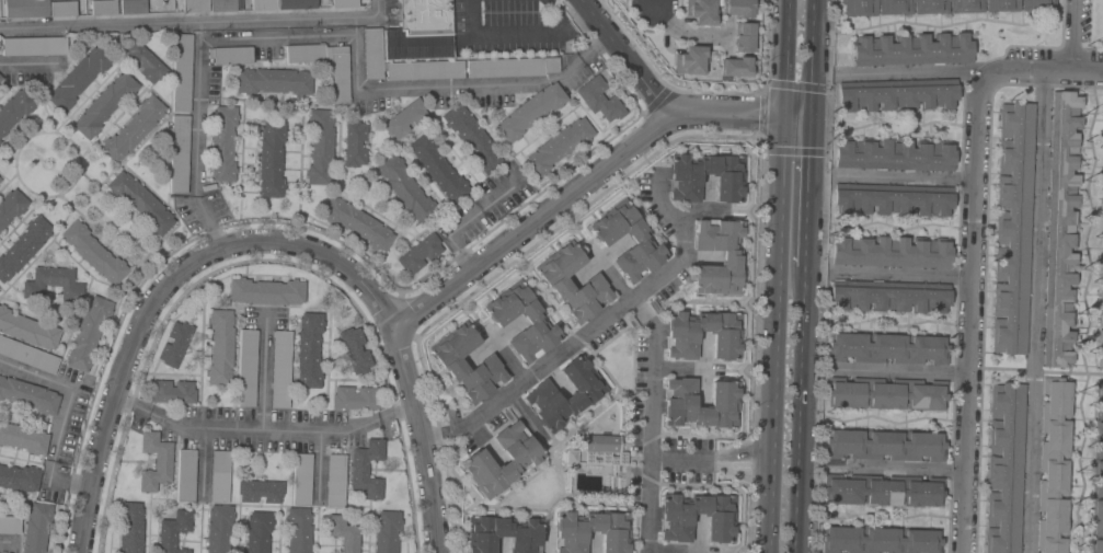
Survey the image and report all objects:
building: (344, 3)
road: (656, 3)
building: (263, 4)
building: (297, 4)
building: (195, 5)
building: (222, 5)
building: (133, 7)
building: (937, 7)
building: (25, 8)
building: (104, 8)
building: (62, 9)
building: (738, 9)
building: (701, 11)
road: (195, 24)
building: (421, 31)
road: (686, 31)
road: (515, 35)
road: (1072, 35)
building: (743, 38)
building: (33, 46)
building: (911, 49)
building: (305, 53)
building: (372, 54)
building: (230, 55)
road: (812, 56)
road: (783, 57)
road: (628, 60)
building: (690, 60)
building: (145, 62)
road: (27, 64)
road: (198, 67)
building: (512, 67)
building: (735, 67)
building: (424, 70)
road: (1042, 70)
building: (182, 73)
road: (914, 73)
building: (340, 76)
building: (0, 78)
building: (79, 78)
building: (274, 81)
road: (457, 88)
building: (896, 97)
building: (599, 100)
building: (104, 105)
building: (14, 110)
building: (530, 112)
building: (405, 118)
building: (134, 128)
building: (472, 138)
building: (222, 143)
building: (355, 143)
building: (559, 146)
building: (320, 147)
building: (180, 154)
building: (893, 155)
building: (271, 160)
building: (1102, 164)
building: (438, 169)
road: (908, 178)
building: (0, 180)
road: (589, 183)
building: (683, 185)
building: (406, 189)
road: (807, 191)
building: (893, 199)
building: (140, 203)
road: (660, 203)
building: (1102, 205)
building: (11, 206)
road: (466, 218)
building: (1102, 220)
building: (357, 223)
building: (1012, 228)
building: (1061, 229)
building: (641, 241)
building: (1102, 241)
road: (682, 245)
building: (24, 246)
building: (891, 252)
building: (93, 253)
building: (420, 253)
building: (731, 258)
building: (1102, 269)
road: (610, 276)
road: (904, 276)
building: (53, 284)
building: (556, 284)
building: (266, 291)
building: (889, 296)
building: (1102, 309)
road: (1035, 311)
road: (970, 315)
building: (535, 321)
building: (27, 330)
building: (88, 333)
road: (773, 333)
building: (681, 335)
building: (175, 344)
building: (220, 347)
building: (888, 347)
building: (354, 348)
building: (1100, 348)
building: (309, 349)
building: (27, 355)
road: (127, 359)
road: (404, 360)
building: (451, 364)
road: (548, 366)
building: (246, 368)
building: (280, 369)
road: (901, 370)
road: (263, 373)
road: (653, 378)
building: (171, 392)
building: (886, 394)
building: (28, 395)
building: (541, 395)
building: (355, 398)
building: (679, 403)
road: (800, 411)
road: (61, 418)
road: (263, 430)
road: (456, 433)
building: (23, 438)
road: (437, 438)
building: (601, 443)
building: (885, 445)
building: (154, 461)
building: (522, 461)
road: (682, 462)
road: (742, 463)
building: (1054, 465)
building: (1004, 468)
building: (367, 469)
road: (899, 469)
building: (186, 475)
building: (219, 476)
building: (1098, 476)
building: (19, 477)
building: (301, 479)
building: (335, 481)
building: (260, 491)
building: (883, 491)
road: (650, 507)
building: (676, 517)
building: (10, 525)
building: (36, 527)
building: (130, 527)
building: (218, 529)
building: (298, 530)
building: (173, 531)
building: (387, 531)
building: (258, 532)
building: (343, 533)
building: (612, 533)
building: (503, 534)
building: (881, 540)
road: (9, 543)

